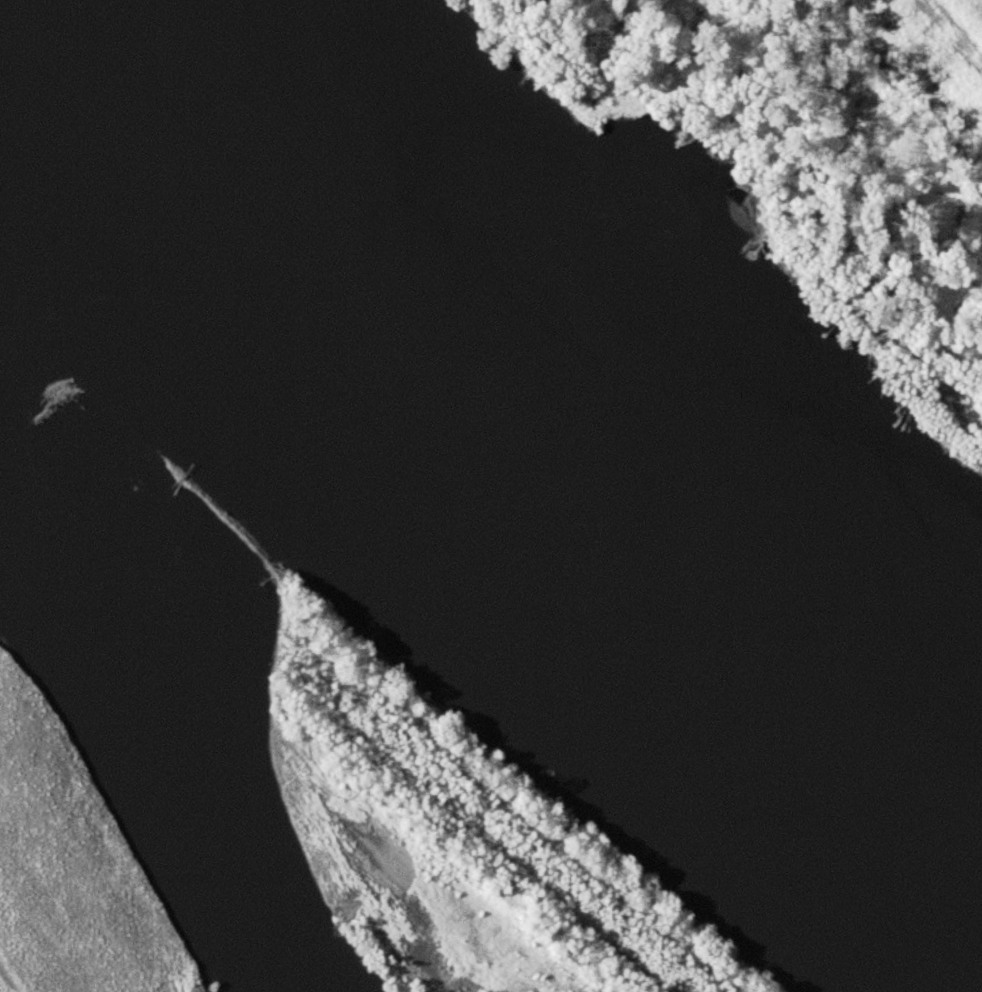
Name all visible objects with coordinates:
river: (545, 410)

